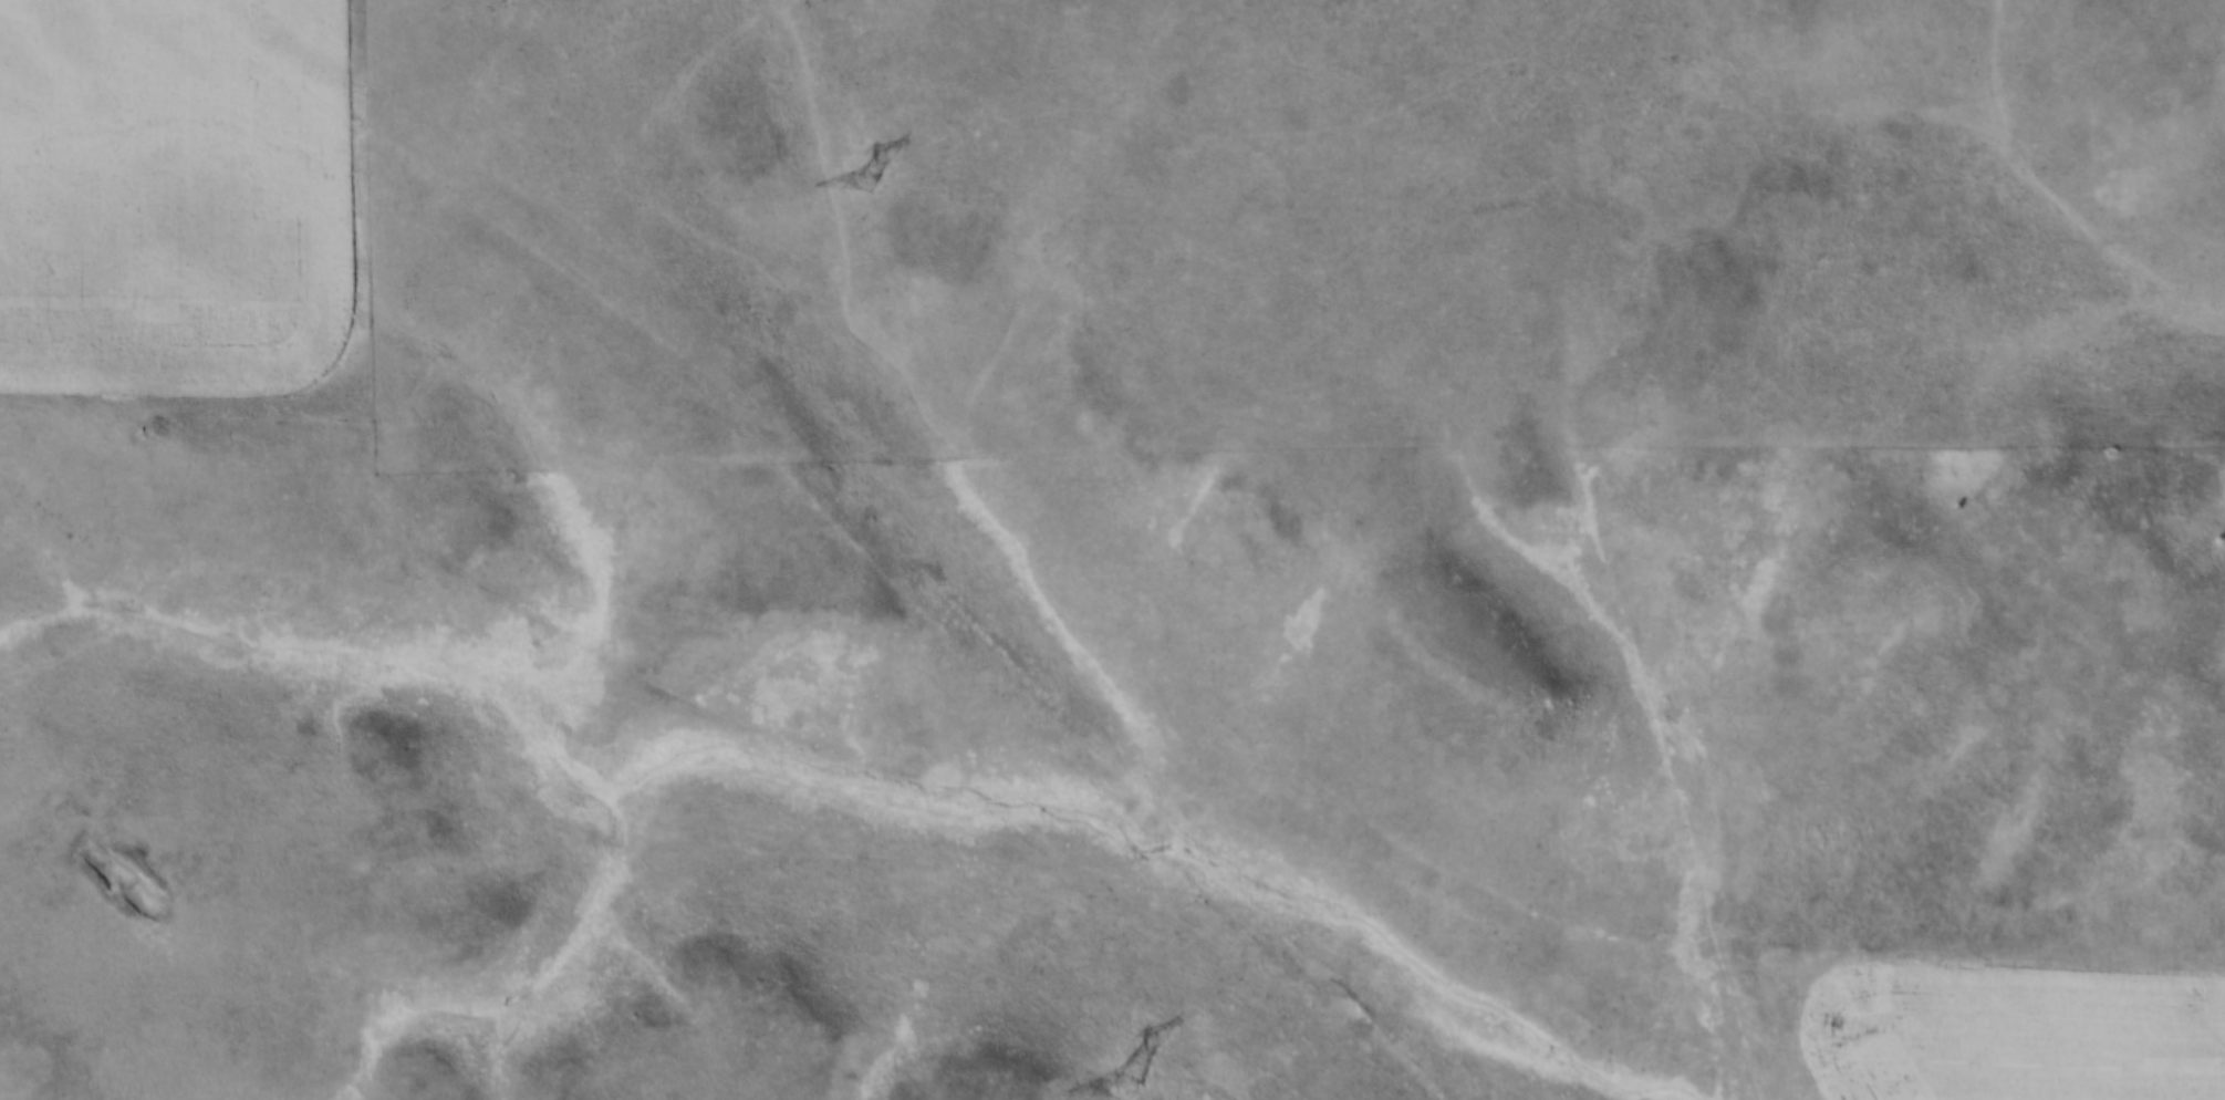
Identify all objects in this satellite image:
power tower: (864, 184)
power tower: (1124, 1098)

